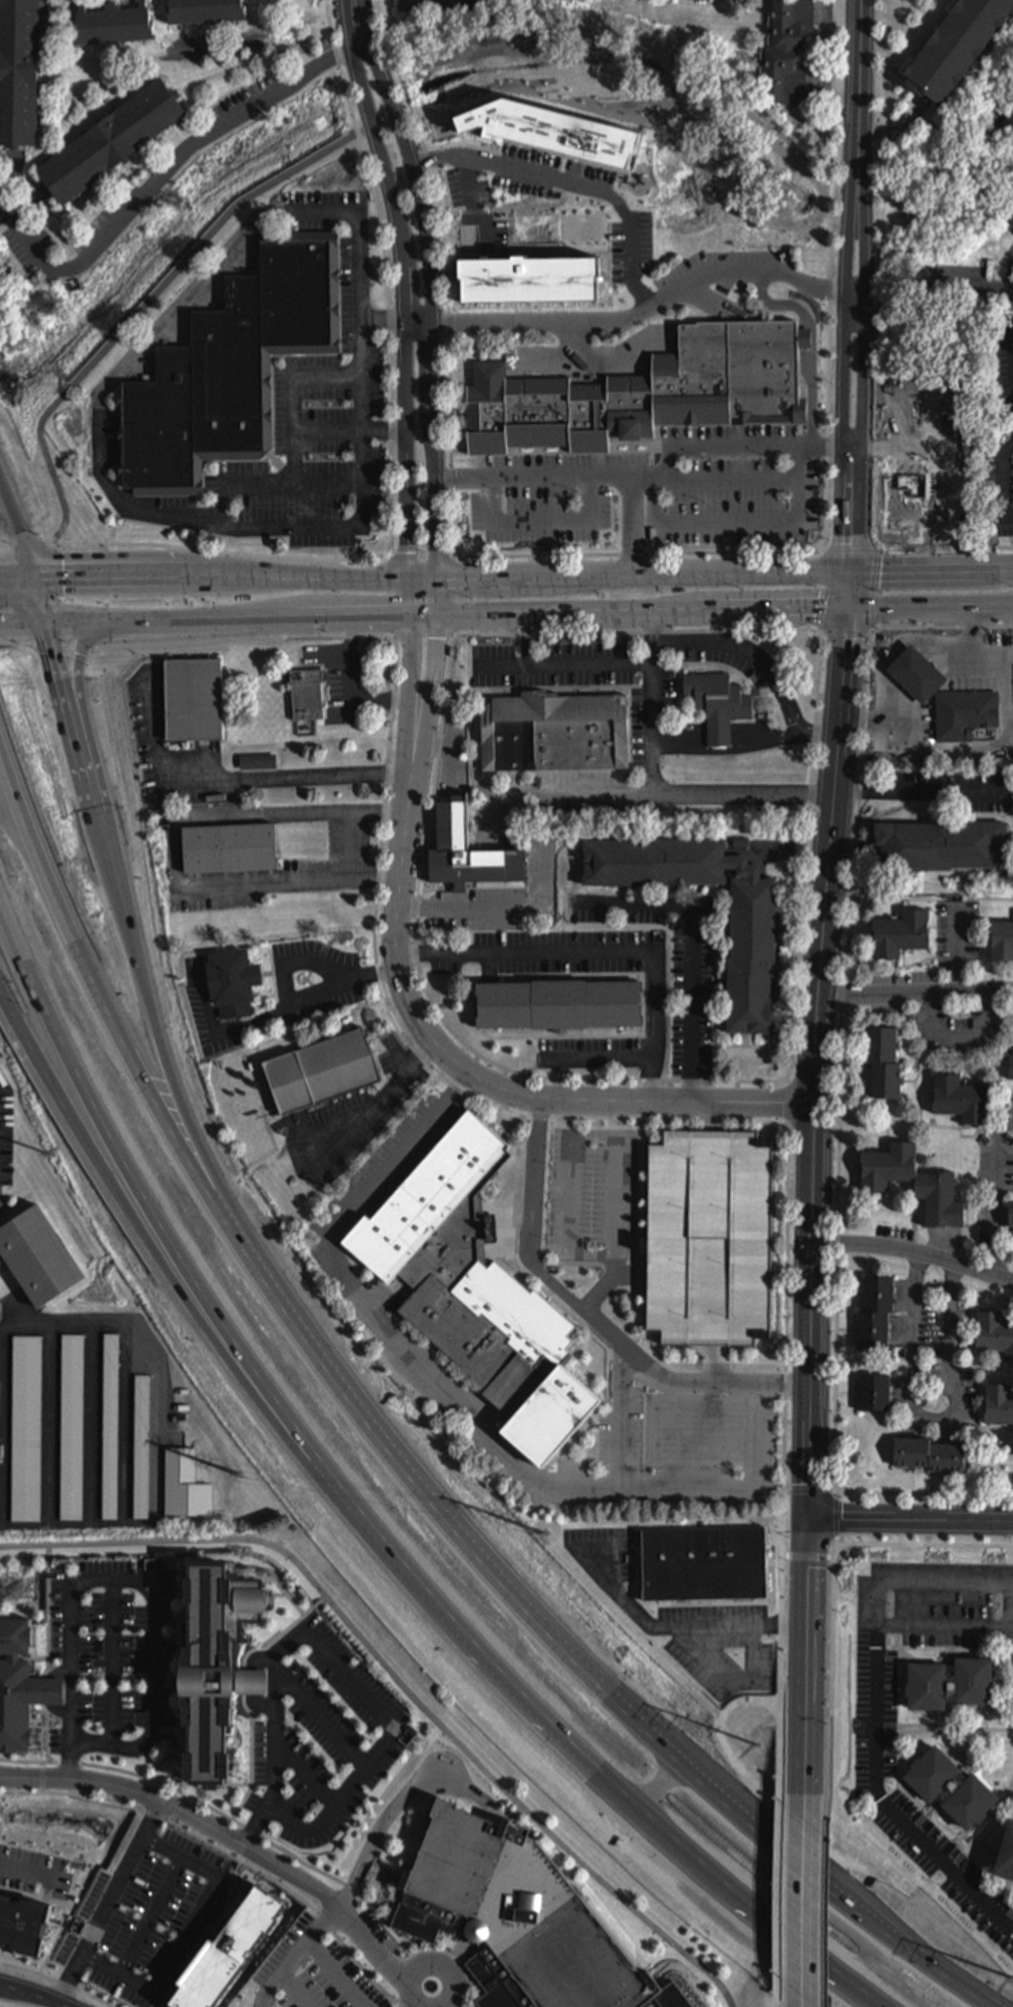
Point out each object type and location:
building: (690, 0)
park: (439, 5)
building: (207, 11)
road: (328, 17)
building: (115, 25)
building: (958, 47)
building: (787, 52)
road: (336, 56)
building: (20, 72)
road: (897, 72)
building: (552, 130)
road: (901, 133)
building: (113, 142)
road: (168, 169)
road: (573, 182)
road: (471, 206)
road: (3, 214)
building: (532, 253)
road: (1012, 279)
road: (432, 282)
road: (403, 284)
road: (856, 284)
parking lot: (958, 284)
road: (968, 287)
road: (149, 302)
road: (637, 315)
road: (383, 322)
road: (815, 342)
road: (881, 343)
road: (572, 345)
road: (806, 353)
building: (915, 360)
road: (604, 367)
building: (227, 368)
road: (362, 371)
road: (328, 376)
building: (644, 394)
road: (100, 407)
parking lot: (310, 421)
road: (294, 430)
road: (329, 430)
road: (385, 430)
road: (824, 448)
road: (275, 462)
road: (650, 476)
road: (463, 478)
road: (729, 480)
building: (909, 480)
road: (391, 482)
road: (295, 484)
parking lot: (659, 491)
building: (939, 492)
road: (645, 500)
road: (225, 506)
road: (541, 521)
road: (738, 522)
road: (633, 523)
road: (20, 527)
road: (32, 545)
road: (8, 549)
road: (823, 549)
road: (851, 551)
road: (389, 554)
road: (455, 554)
road: (632, 555)
road: (931, 567)
traffic signals: (851, 569)
road: (630, 571)
road: (223, 574)
road: (19, 580)
traffic signals: (38, 580)
road: (850, 589)
road: (872, 591)
road: (827, 592)
road: (437, 596)
road: (410, 597)
road: (45, 601)
road: (931, 609)
traffic signals: (849, 610)
road: (630, 614)
road: (283, 620)
road: (131, 622)
road: (26, 623)
traffic signals: (52, 623)
road: (80, 623)
road: (846, 632)
road: (876, 633)
road: (818, 634)
road: (454, 638)
road: (394, 639)
road: (531, 641)
road: (896, 643)
road: (63, 645)
road: (18, 646)
road: (1009, 652)
road: (764, 662)
road: (565, 664)
building: (918, 675)
gas station: (918, 675)
road: (411, 678)
road: (433, 679)
parking lot: (344, 681)
building: (308, 695)
building: (196, 700)
building: (719, 704)
road: (81, 706)
building: (985, 710)
road: (74, 711)
building: (954, 718)
parking lot: (646, 725)
road: (1011, 731)
building: (555, 733)
road: (994, 741)
road: (432, 746)
road: (730, 750)
road: (451, 752)
parking lot: (455, 757)
building: (259, 763)
road: (242, 780)
parking lot: (945, 789)
road: (851, 790)
road: (937, 791)
road: (586, 795)
road: (653, 795)
road: (349, 842)
building: (941, 846)
building: (232, 849)
building: (470, 852)
parking lot: (505, 898)
road: (991, 900)
road: (915, 901)
road: (411, 906)
road: (522, 908)
building: (754, 918)
parking lot: (959, 931)
building: (902, 934)
building: (1002, 942)
road: (693, 945)
road: (958, 949)
road: (603, 952)
road: (953, 959)
road: (296, 961)
building: (234, 983)
road: (714, 990)
road: (915, 994)
parking lot: (692, 999)
building: (560, 1005)
road: (280, 1008)
road: (790, 1036)
road: (961, 1041)
road: (752, 1047)
road: (603, 1057)
road: (424, 1063)
road: (815, 1063)
building: (885, 1064)
building: (1011, 1068)
road: (463, 1069)
building: (323, 1072)
road: (840, 1079)
road: (786, 1080)
road: (384, 1096)
building: (964, 1100)
road: (790, 1108)
road: (712, 1116)
parking lot: (352, 1121)
road: (900, 1122)
road: (772, 1131)
road: (977, 1133)
road: (595, 1136)
road: (889, 1136)
power tower: (51, 1154)
road: (221, 1182)
building: (936, 1187)
road: (554, 1189)
road: (996, 1190)
road: (571, 1195)
parking lot: (594, 1195)
road: (615, 1196)
road: (647, 1196)
road: (527, 1197)
road: (890, 1198)
road: (878, 1209)
building: (1011, 1215)
road: (553, 1217)
road: (916, 1222)
road: (552, 1232)
building: (712, 1239)
parking lot: (712, 1239)
road: (544, 1242)
road: (530, 1248)
road: (552, 1248)
road: (914, 1253)
road: (591, 1255)
building: (36, 1258)
road: (614, 1267)
road: (927, 1272)
road: (610, 1281)
building: (477, 1291)
road: (849, 1295)
road: (193, 1309)
road: (1006, 1310)
building: (877, 1313)
parking lot: (370, 1314)
road: (589, 1317)
road: (847, 1331)
building: (994, 1334)
road: (639, 1335)
road: (583, 1345)
road: (608, 1351)
road: (758, 1351)
road: (148, 1354)
road: (685, 1361)
road: (1003, 1362)
road: (619, 1363)
road: (718, 1364)
road: (988, 1365)
road: (420, 1369)
road: (631, 1370)
road: (847, 1393)
road: (712, 1394)
building: (875, 1394)
road: (711, 1404)
building: (999, 1405)
road: (90, 1419)
road: (49, 1421)
road: (925, 1421)
road: (124, 1425)
building: (70, 1428)
building: (109, 1428)
building: (25, 1429)
road: (991, 1432)
road: (1008, 1432)
road: (621, 1433)
road: (0, 1435)
road: (667, 1444)
road: (711, 1444)
road: (754, 1445)
building: (140, 1448)
building: (930, 1456)
road: (395, 1460)
power tower: (239, 1474)
road: (913, 1483)
road: (948, 1485)
road: (1011, 1486)
road: (838, 1489)
road: (810, 1491)
road: (364, 1519)
traffic signals: (809, 1519)
road: (911, 1519)
road: (836, 1520)
power tower: (546, 1533)
building: (706, 1564)
road: (833, 1595)
road: (1010, 1608)
road: (152, 1623)
road: (681, 1625)
road: (946, 1627)
parking lot: (119, 1646)
parking lot: (721, 1649)
road: (111, 1663)
building: (211, 1665)
road: (809, 1665)
road: (725, 1678)
road: (252, 1684)
building: (248, 1685)
road: (399, 1685)
building: (951, 1685)
building: (13, 1688)
road: (49, 1692)
building: (43, 1693)
road: (782, 1693)
parking lot: (877, 1715)
road: (321, 1718)
road: (987, 1718)
road: (875, 1721)
road: (71, 1722)
road: (982, 1729)
road: (388, 1736)
parking lot: (323, 1743)
power tower: (758, 1745)
road: (775, 1751)
road: (269, 1753)
road: (304, 1773)
road: (42, 1778)
road: (748, 1781)
building: (952, 1789)
road: (665, 1790)
road: (69, 1794)
road: (1006, 1803)
road: (179, 1808)
road: (226, 1816)
road: (224, 1834)
road: (959, 1841)
road: (981, 1843)
road: (971, 1845)
road: (989, 1849)
building: (1006, 1857)
road: (235, 1858)
road: (28, 1872)
parking lot: (33, 1872)
road: (351, 1882)
road: (34, 1897)
road: (821, 1897)
road: (808, 1898)
road: (773, 1901)
road: (110, 1902)
road: (150, 1916)
parking lot: (144, 1917)
building: (520, 1919)
road: (63, 1925)
building: (23, 1926)
road: (201, 1932)
road: (186, 1935)
building: (229, 1950)
road: (430, 1966)
road: (337, 1973)
parking lot: (326, 1975)
power tower: (1012, 1978)
road: (57, 1981)
road: (294, 1990)
road: (819, 1992)
road: (33, 1994)
road: (807, 1996)
road: (389, 2001)
road: (769, 2004)
road: (414, 2005)

